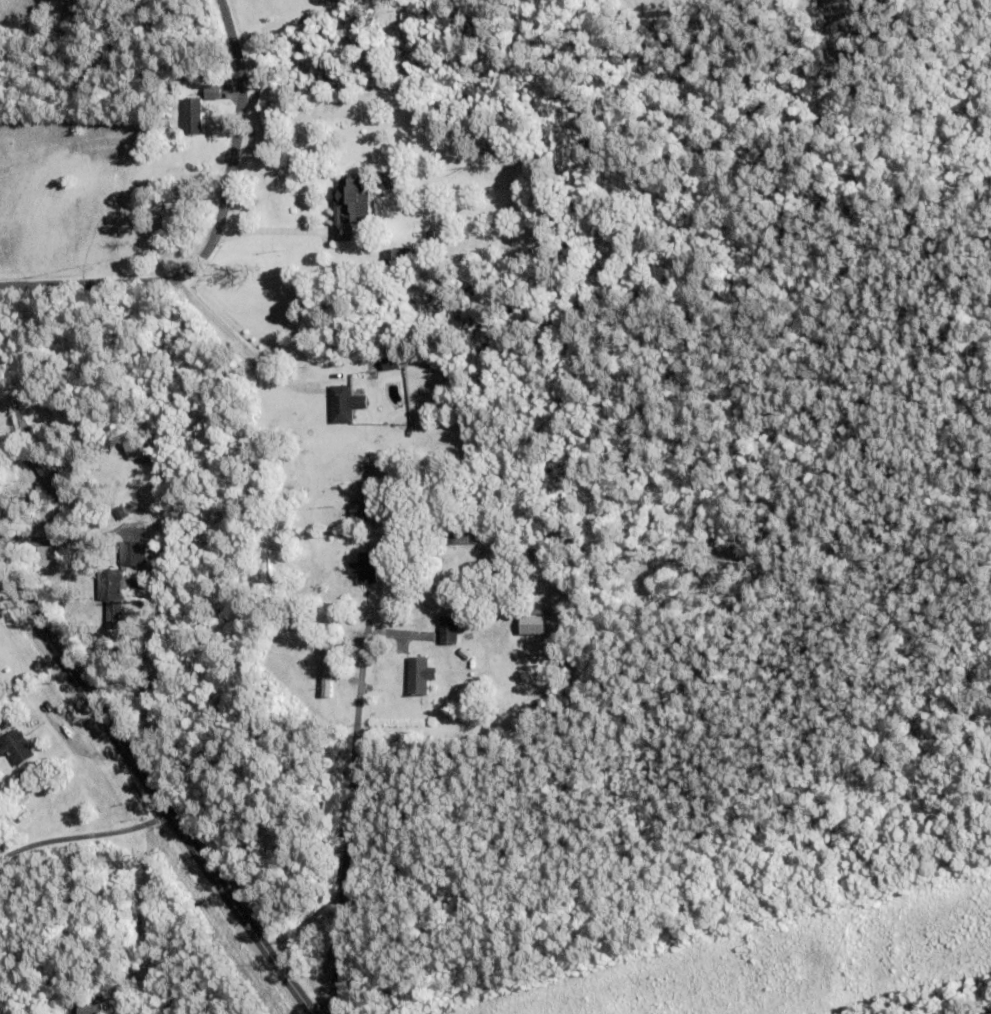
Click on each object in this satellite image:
building: (193, 115)
building: (386, 180)
building: (350, 205)
road: (268, 229)
road: (212, 231)
building: (430, 234)
building: (397, 256)
road: (240, 345)
building: (391, 362)
building: (345, 403)
building: (21, 417)
building: (135, 446)
building: (52, 477)
building: (397, 501)
building: (375, 502)
building: (358, 519)
building: (459, 537)
building: (132, 554)
building: (366, 567)
building: (112, 594)
building: (533, 622)
building: (450, 629)
building: (419, 676)
building: (326, 677)
building: (16, 747)
building: (39, 769)
road: (154, 793)
road: (349, 818)
road: (84, 838)
building: (141, 874)
road: (148, 924)
building: (92, 1008)

